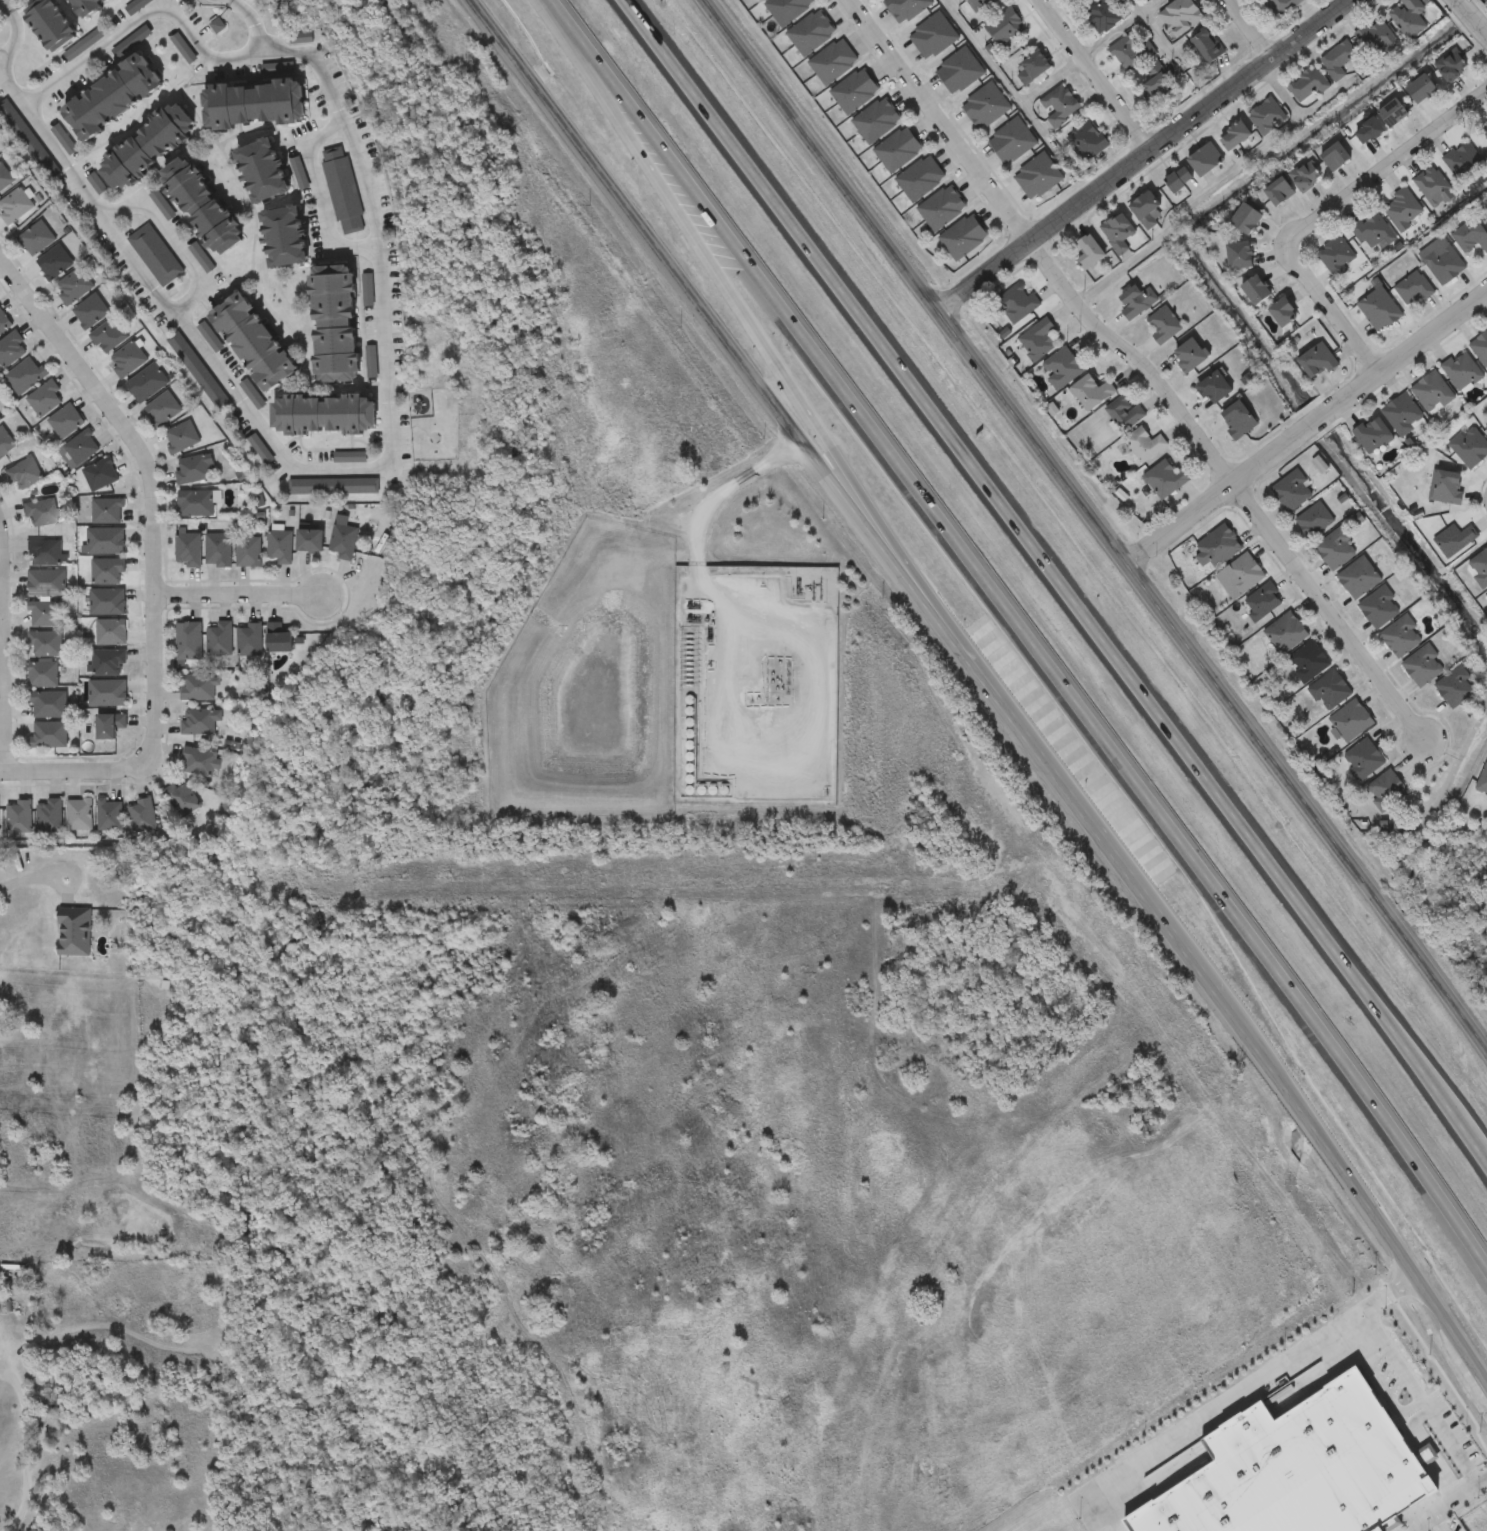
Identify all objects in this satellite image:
building: (761, 0)
road: (5, 5)
building: (980, 5)
building: (86, 6)
building: (1281, 7)
building: (907, 9)
building: (788, 10)
building: (1101, 14)
building: (1181, 17)
road: (1472, 17)
road: (147, 18)
building: (1410, 18)
road: (570, 21)
road: (1154, 21)
building: (52, 25)
building: (1006, 27)
road: (1122, 29)
road: (1253, 29)
building: (811, 33)
building: (934, 37)
building: (1379, 40)
building: (1208, 46)
building: (1130, 54)
road: (998, 57)
building: (1339, 61)
building: (834, 62)
building: (1452, 66)
building: (1034, 68)
building: (960, 71)
road: (1094, 75)
road: (1056, 79)
building: (1309, 85)
building: (1159, 88)
building: (1423, 88)
building: (855, 91)
building: (112, 97)
building: (254, 104)
building: (986, 106)
building: (1060, 106)
building: (1395, 113)
building: (1268, 117)
building: (877, 120)
road: (941, 120)
building: (1370, 130)
building: (1485, 130)
building: (1236, 136)
building: (28, 139)
building: (1013, 141)
building: (1088, 142)
building: (147, 147)
building: (899, 150)
road: (1145, 155)
building: (1336, 157)
building: (1206, 160)
building: (1464, 162)
road: (1382, 167)
building: (263, 171)
building: (1307, 176)
building: (4, 177)
building: (1038, 177)
building: (921, 179)
building: (1180, 180)
building: (1435, 188)
building: (343, 191)
building: (1280, 192)
road: (318, 196)
building: (14, 205)
building: (202, 205)
building: (942, 209)
building: (1403, 210)
building: (1148, 211)
building: (1248, 219)
building: (1373, 231)
building: (1119, 233)
building: (1473, 235)
building: (36, 237)
building: (285, 237)
building: (964, 238)
road: (179, 240)
building: (1091, 253)
building: (156, 256)
building: (1241, 256)
building: (1337, 256)
building: (1443, 261)
building: (53, 262)
building: (72, 286)
building: (1414, 290)
building: (1257, 291)
building: (1138, 301)
building: (1018, 304)
building: (1381, 310)
building: (90, 311)
building: (1284, 312)
road: (1331, 314)
building: (4, 321)
building: (335, 324)
building: (1165, 326)
building: (108, 335)
building: (1039, 340)
building: (253, 342)
building: (11, 348)
building: (1481, 349)
road: (735, 352)
building: (1191, 356)
building: (126, 359)
road: (1137, 361)
building: (1318, 362)
building: (1062, 368)
building: (1462, 371)
building: (200, 373)
building: (25, 374)
road: (786, 377)
building: (146, 382)
building: (1215, 389)
building: (1433, 392)
building: (1092, 393)
building: (44, 398)
building: (162, 408)
building: (1125, 414)
building: (1404, 414)
building: (324, 415)
building: (65, 420)
building: (1239, 420)
building: (0, 423)
building: (1486, 428)
road: (1306, 433)
building: (1374, 435)
building: (181, 436)
building: (5, 441)
building: (1145, 445)
building: (82, 446)
building: (1470, 447)
building: (194, 469)
road: (335, 471)
building: (22, 473)
building: (100, 474)
building: (1165, 480)
building: (334, 487)
building: (1448, 488)
building: (1293, 492)
road: (156, 493)
building: (194, 502)
building: (107, 510)
building: (40, 512)
building: (1315, 521)
road: (1095, 525)
road: (697, 534)
building: (309, 540)
building: (105, 541)
building: (342, 541)
building: (1455, 541)
building: (279, 546)
building: (189, 548)
building: (1217, 548)
building: (218, 549)
building: (1337, 550)
building: (247, 551)
building: (44, 552)
building: (1479, 568)
building: (107, 570)
building: (1244, 574)
road: (1054, 577)
building: (1359, 578)
building: (46, 582)
road: (241, 595)
building: (108, 601)
building: (1263, 602)
building: (1380, 608)
road: (1331, 612)
building: (44, 613)
road: (7, 622)
building: (110, 631)
building: (1286, 633)
building: (1403, 637)
building: (219, 638)
building: (277, 638)
building: (249, 639)
building: (188, 640)
building: (45, 642)
road: (14, 652)
road: (1040, 653)
building: (108, 661)
building: (1308, 662)
building: (1424, 667)
building: (43, 673)
building: (197, 686)
building: (1457, 688)
building: (1331, 691)
building: (106, 692)
building: (48, 704)
building: (198, 721)
building: (1352, 722)
building: (107, 725)
building: (49, 734)
building: (1364, 760)
building: (199, 761)
road: (74, 775)
building: (1483, 783)
building: (1389, 790)
building: (181, 798)
building: (79, 813)
building: (49, 815)
building: (109, 815)
building: (142, 815)
building: (19, 816)
road: (1112, 861)
road: (35, 868)
building: (75, 933)
road: (1355, 1191)
road: (1482, 1377)
road: (1428, 1395)
road: (1232, 1398)
road: (25, 1420)
building: (1298, 1470)
road: (1448, 1504)
road: (1438, 1523)
parking lot: (1445, 1525)

